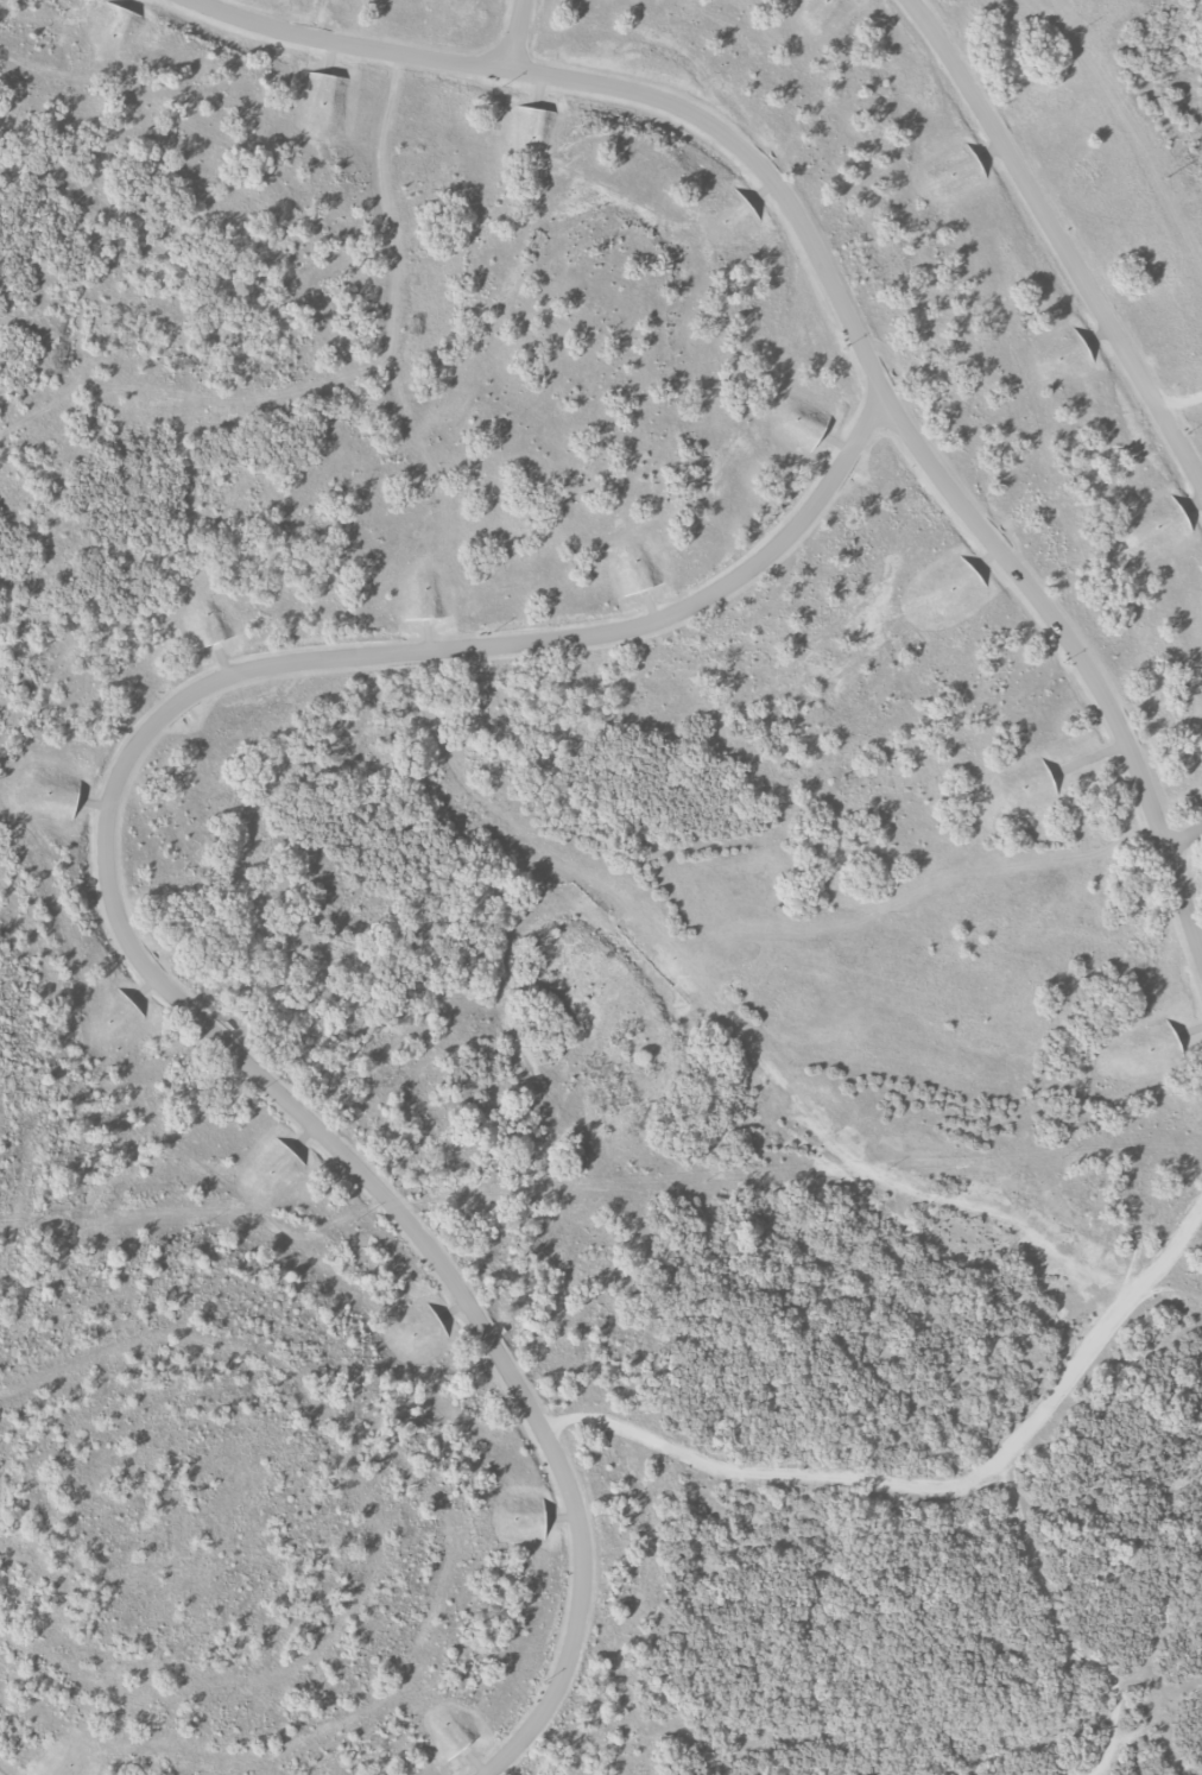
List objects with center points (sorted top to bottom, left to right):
road: (520, 36)
road: (1061, 240)
road: (837, 299)
road: (1184, 841)
road: (113, 911)
road: (925, 1484)

